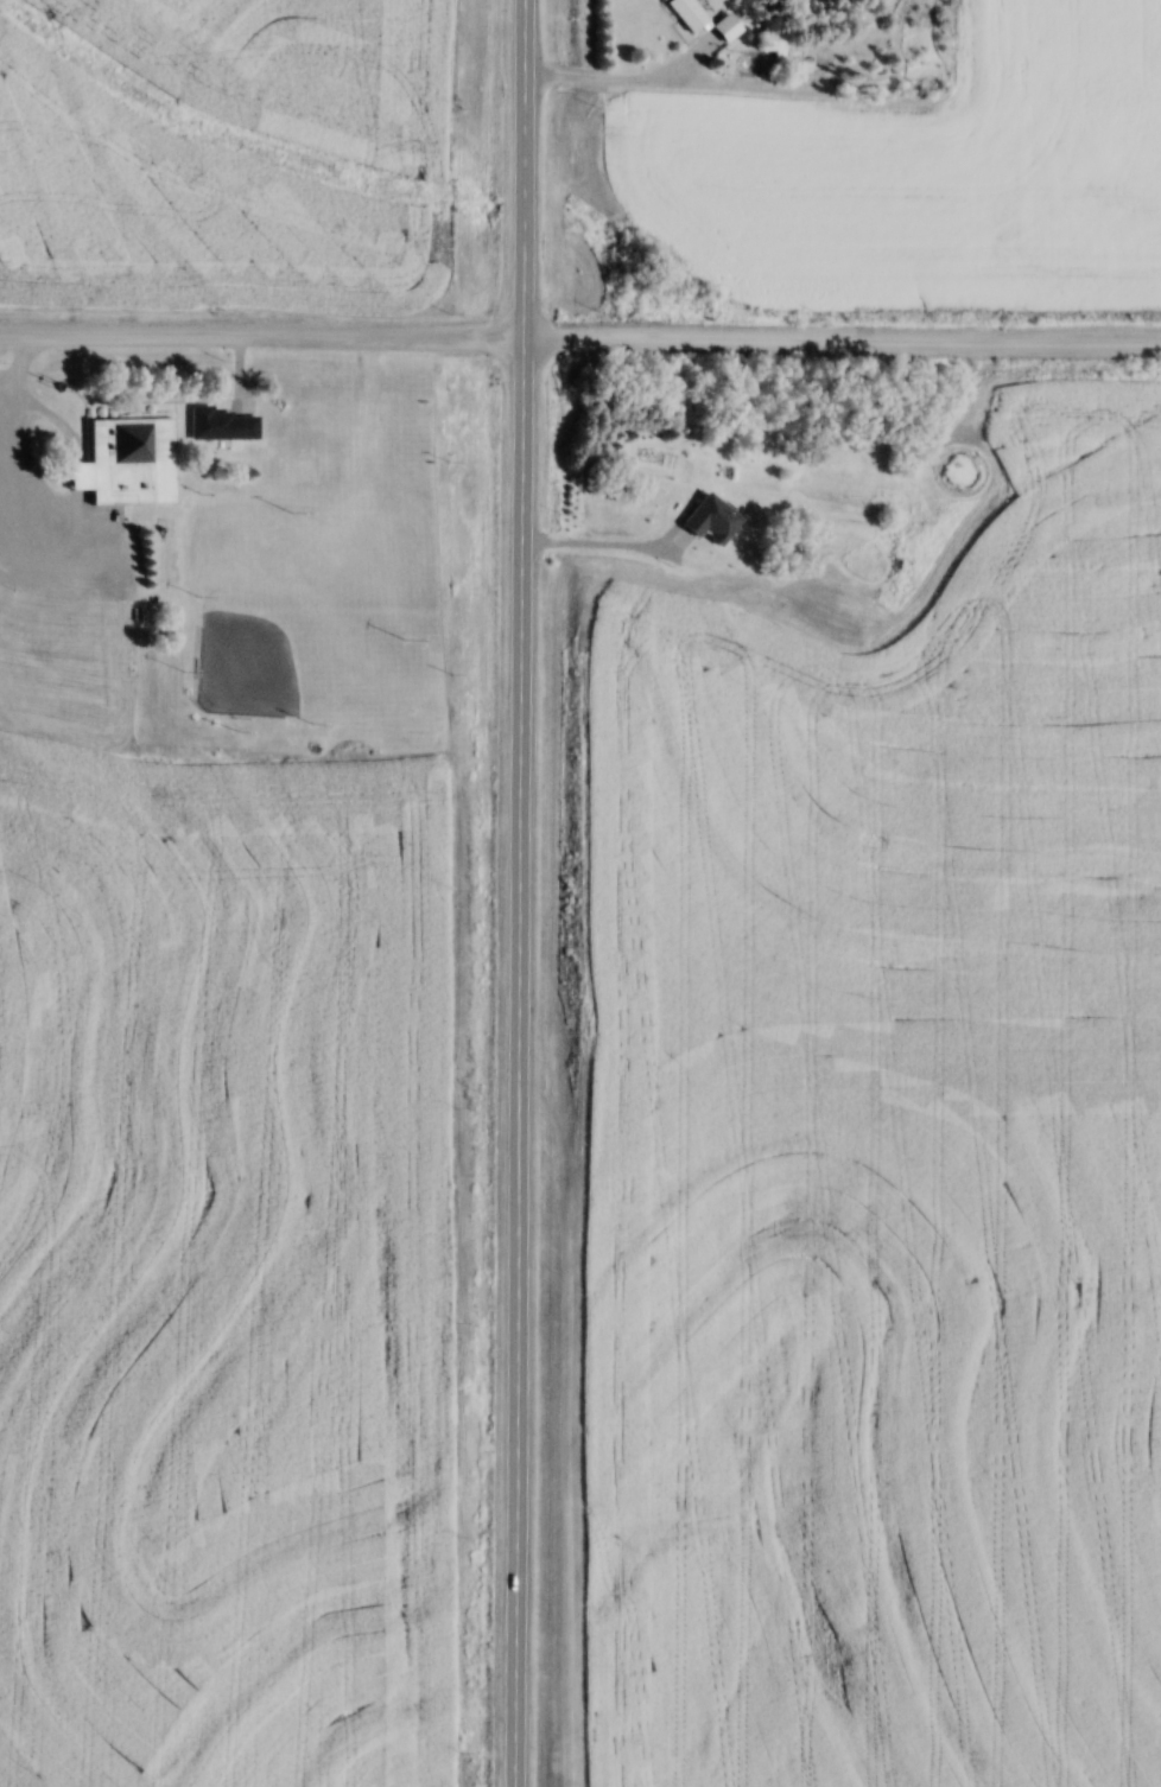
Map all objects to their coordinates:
building: (692, 14)
building: (730, 27)
road: (579, 337)
building: (226, 424)
building: (131, 462)
building: (854, 464)
building: (664, 501)
building: (849, 559)
road: (520, 893)

